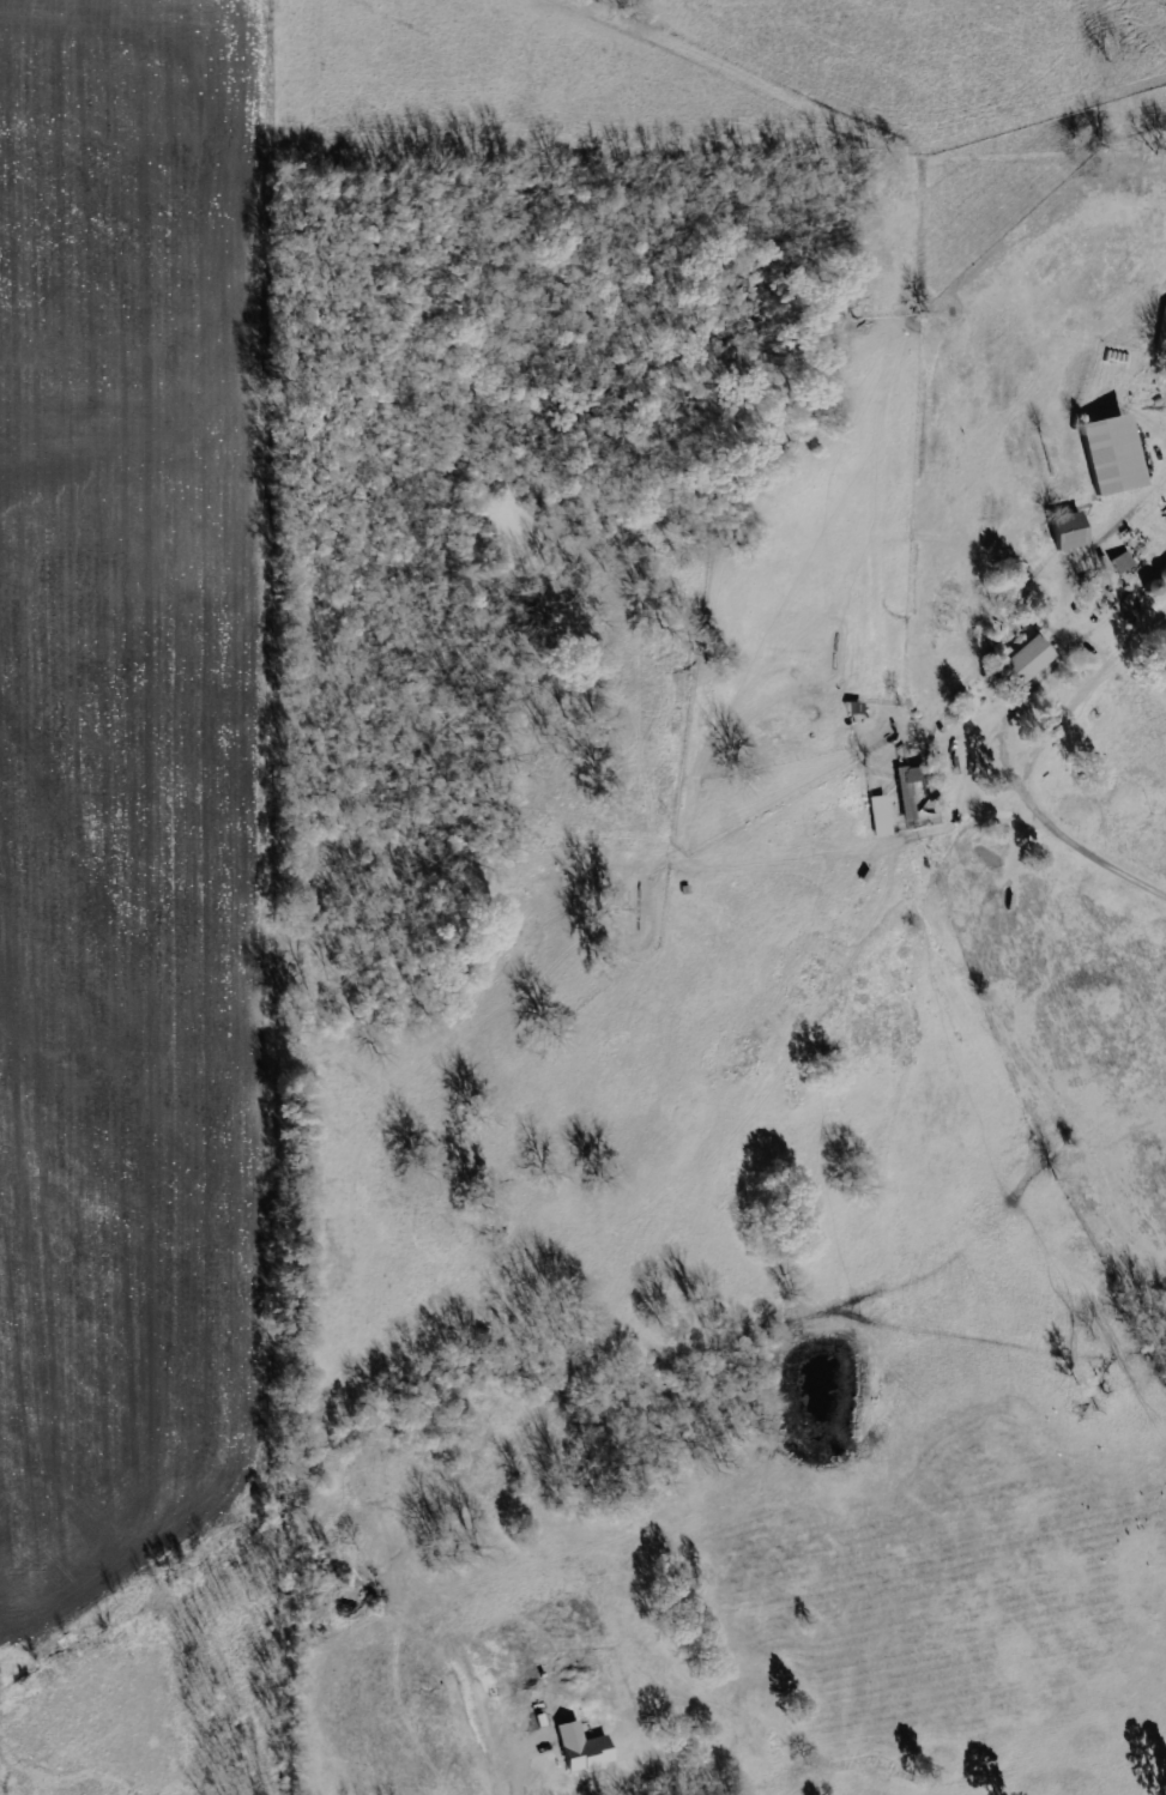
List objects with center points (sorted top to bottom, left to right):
building: (1161, 332)
building: (1107, 454)
building: (1065, 531)
building: (1026, 659)
road: (1062, 808)
building: (580, 1748)

